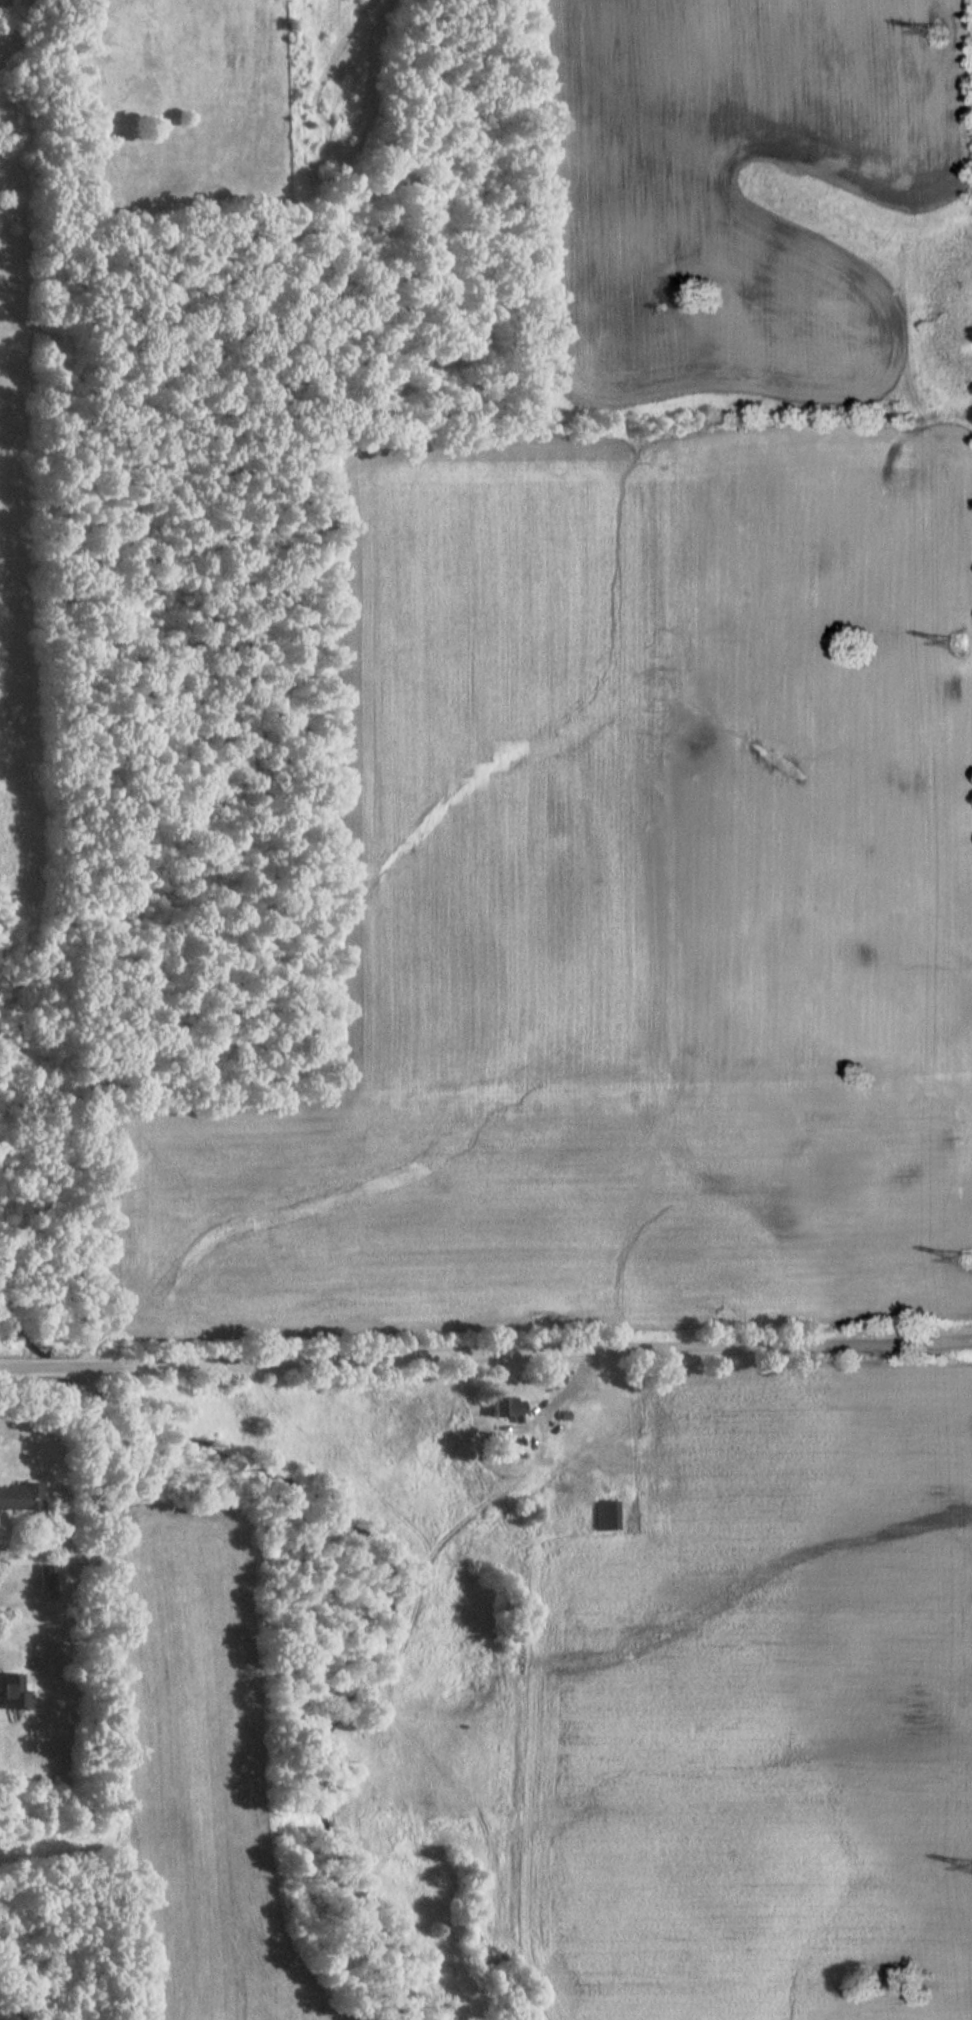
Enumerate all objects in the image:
power tower: (946, 26)
road: (11, 310)
power tower: (962, 643)
road: (74, 834)
road: (529, 1349)
road: (43, 1364)
building: (556, 1376)
road: (583, 1382)
road: (557, 1399)
building: (507, 1406)
building: (595, 1413)
road: (92, 1457)
building: (20, 1497)
building: (604, 1515)
road: (64, 1531)
building: (43, 1576)
road: (96, 1613)
road: (39, 1664)
building: (14, 1690)
road: (71, 1694)

